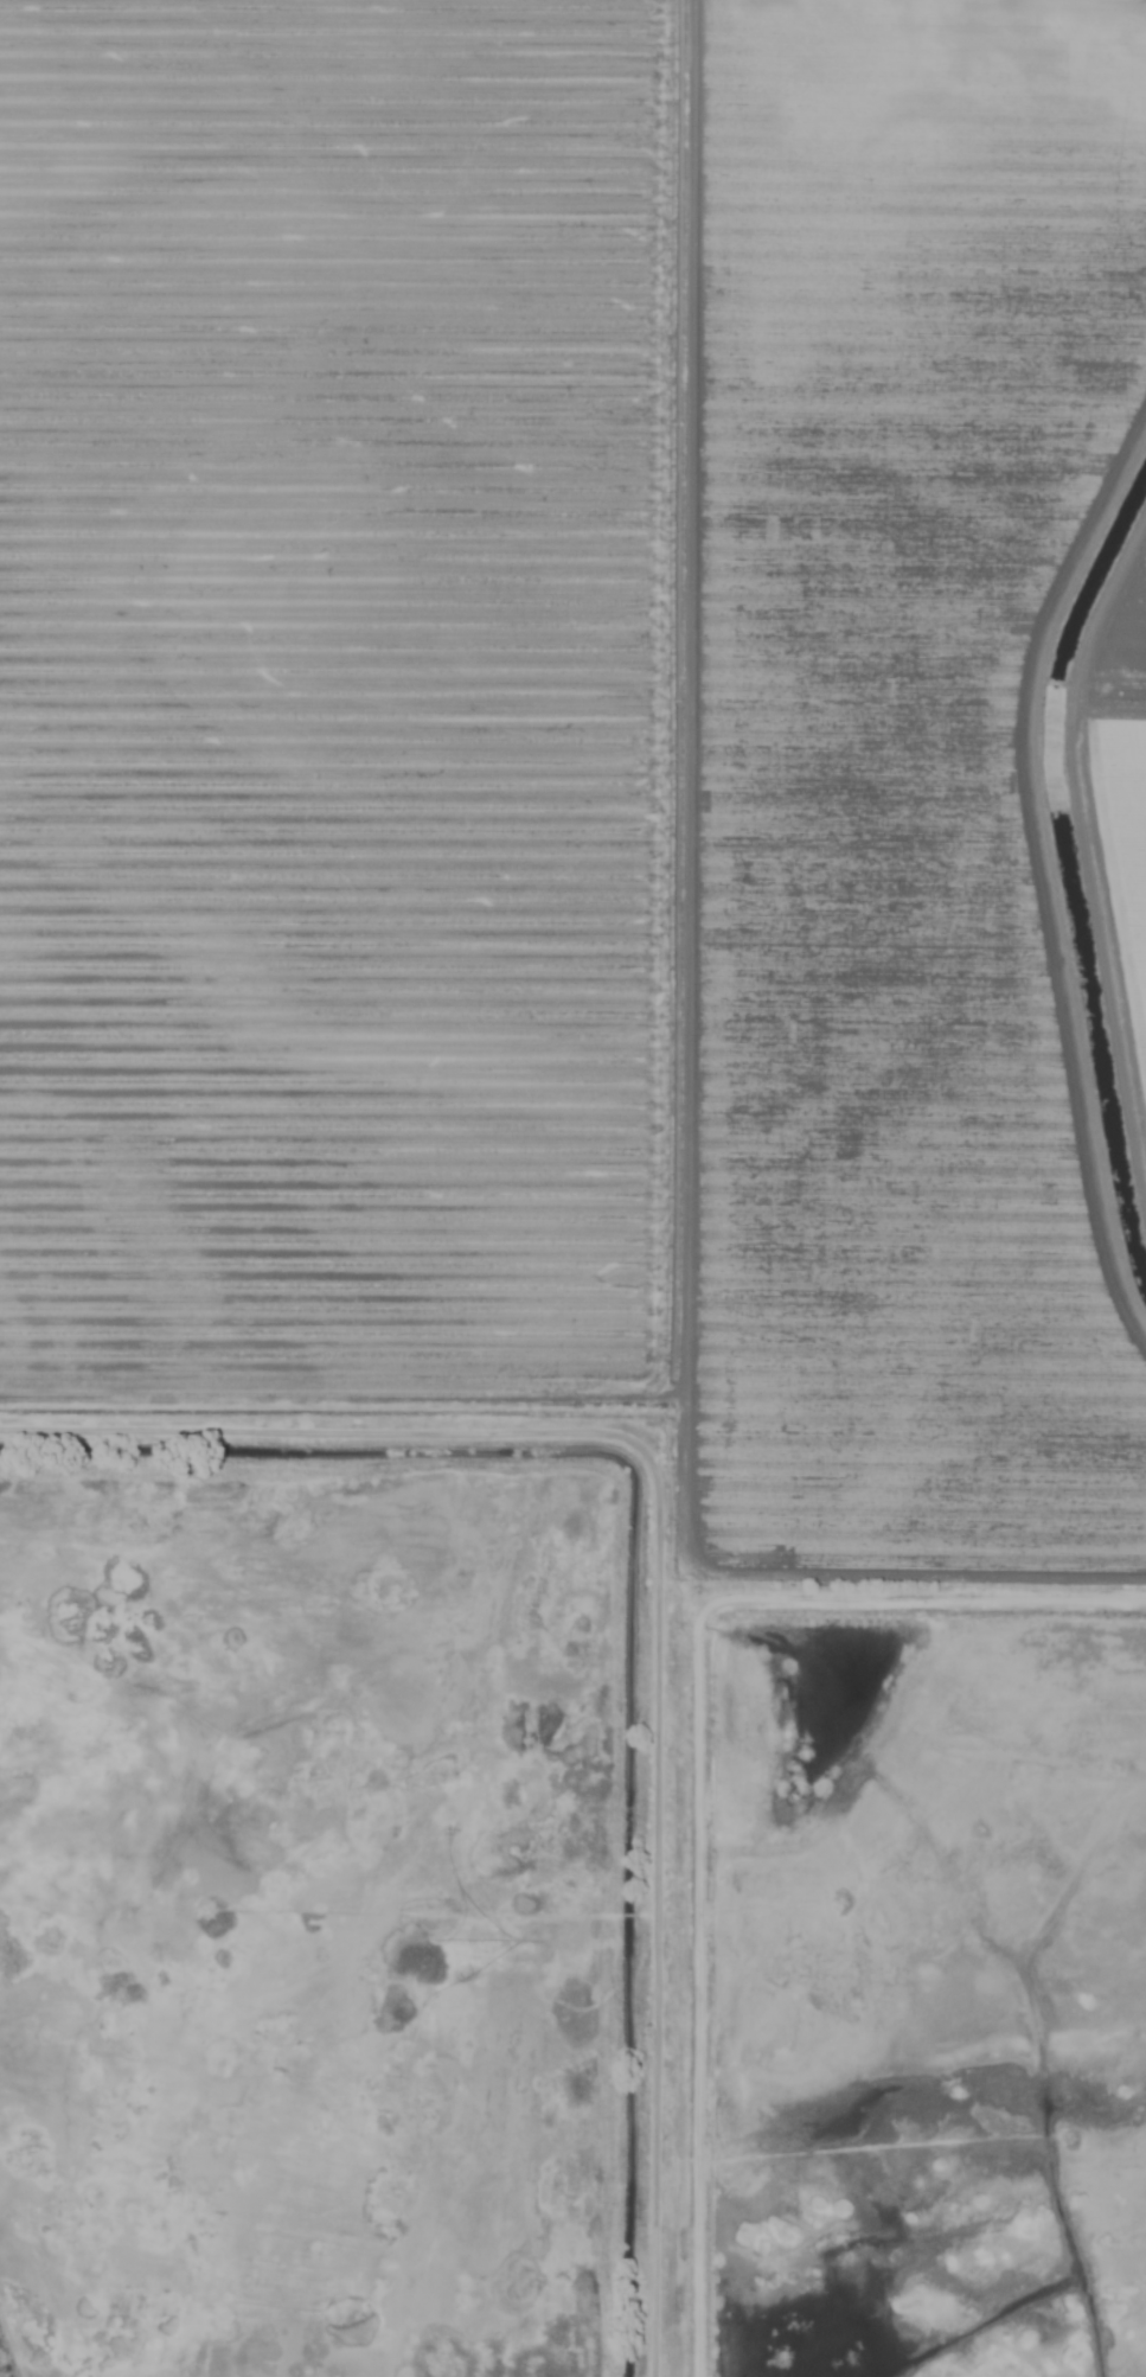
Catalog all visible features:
crop: (590, 739)

